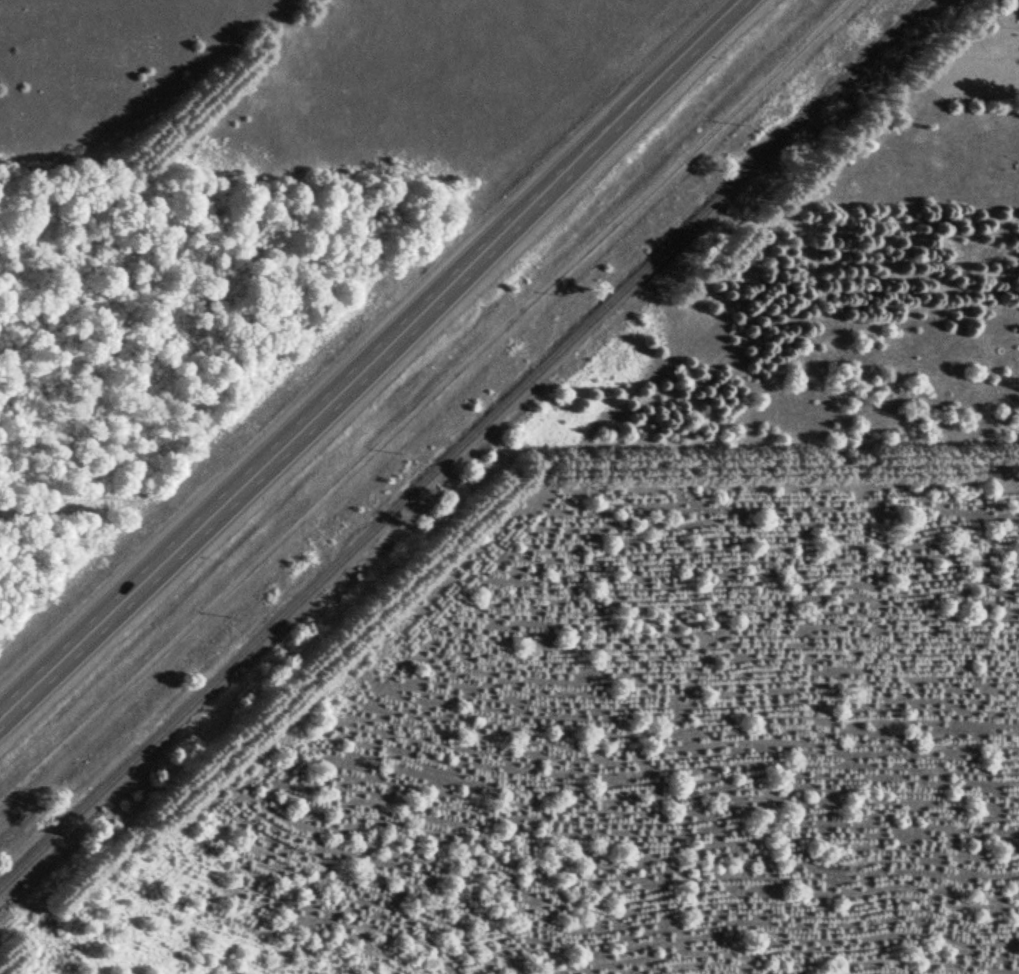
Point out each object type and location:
road: (368, 354)
road: (422, 405)
railway: (461, 443)

